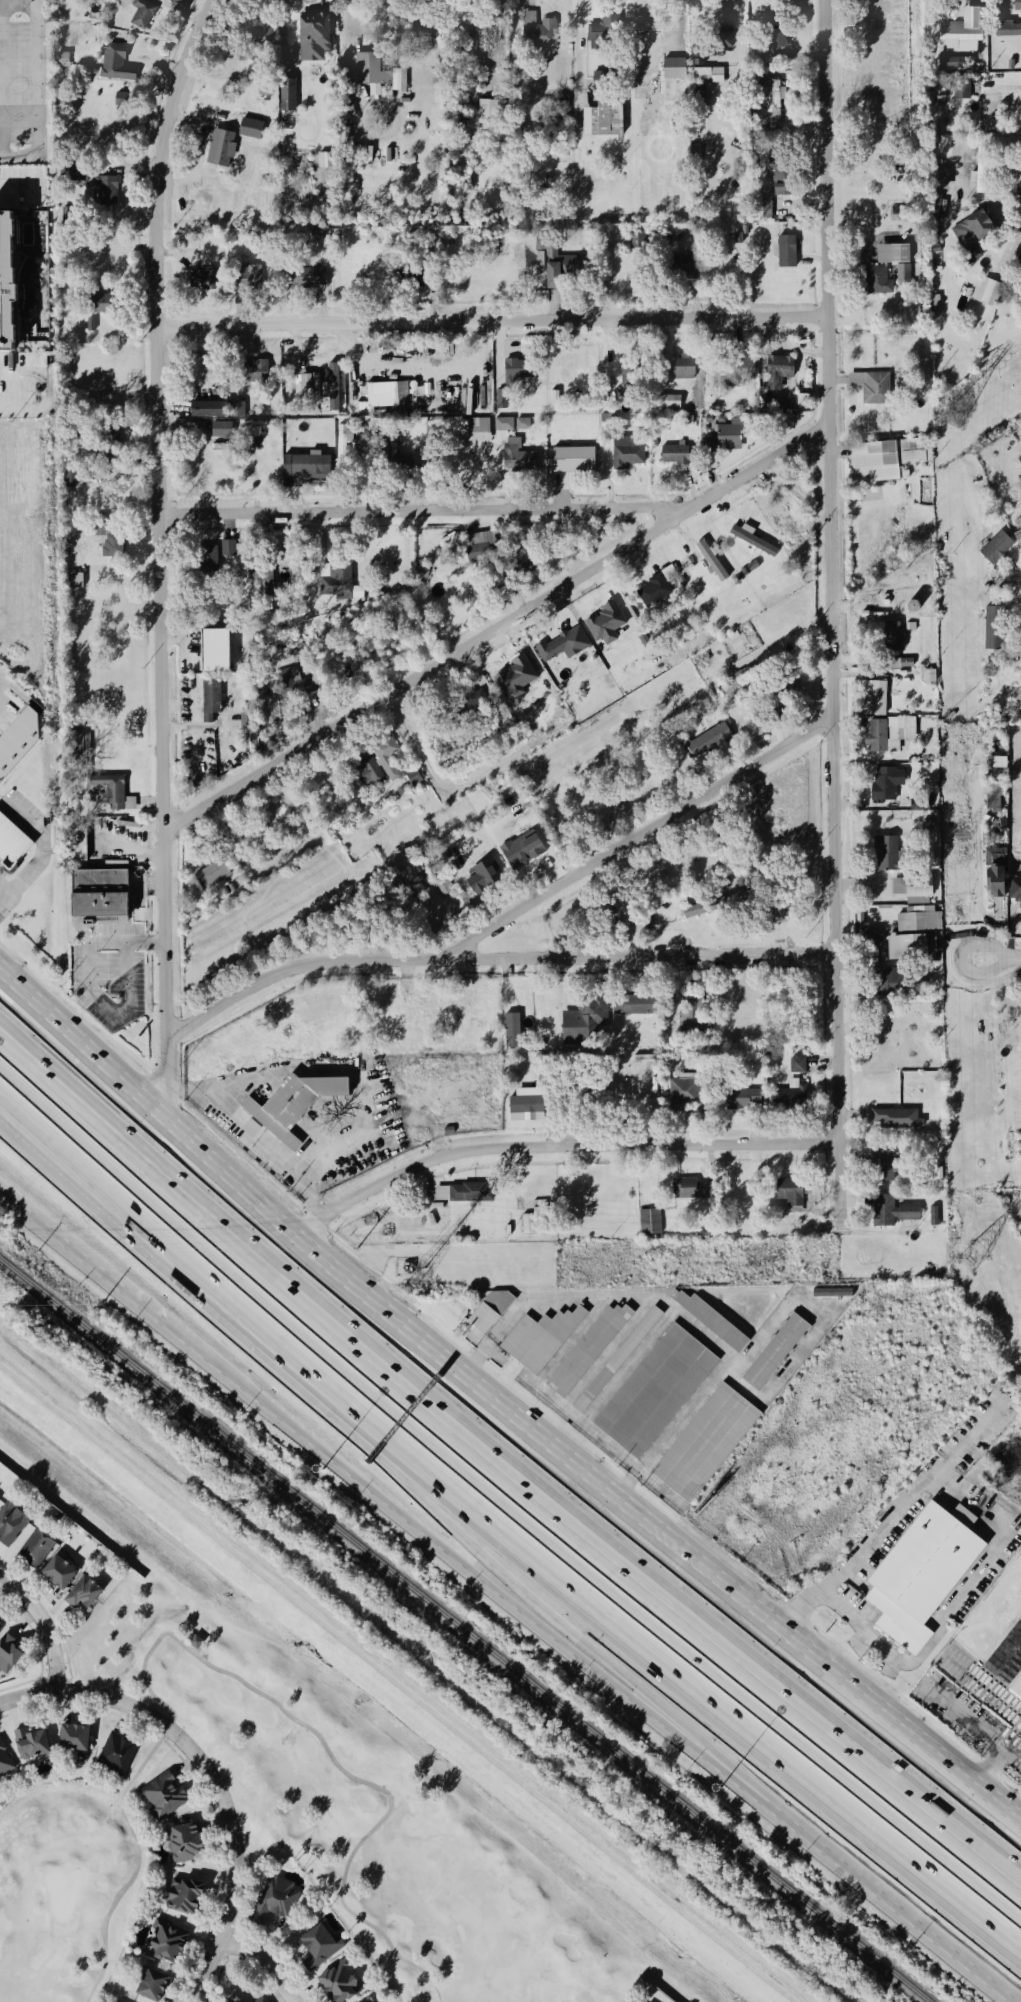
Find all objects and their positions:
building: (109, 5)
building: (1017, 5)
building: (140, 14)
building: (1005, 28)
building: (600, 29)
building: (642, 29)
building: (535, 32)
building: (959, 33)
building: (721, 34)
building: (311, 37)
road: (580, 43)
building: (66, 60)
building: (113, 63)
building: (674, 68)
building: (375, 73)
building: (707, 75)
building: (636, 78)
building: (958, 89)
building: (286, 93)
road: (33, 95)
building: (772, 105)
building: (482, 112)
building: (601, 119)
building: (251, 128)
building: (218, 148)
building: (938, 180)
building: (778, 184)
building: (106, 188)
building: (71, 215)
building: (969, 229)
building: (784, 252)
building: (893, 253)
building: (248, 278)
building: (305, 278)
building: (8, 280)
building: (201, 280)
building: (877, 281)
building: (989, 292)
building: (106, 303)
building: (935, 303)
road: (493, 319)
building: (92, 324)
building: (680, 368)
building: (737, 370)
building: (509, 372)
building: (775, 372)
building: (299, 385)
building: (325, 386)
building: (871, 388)
building: (389, 395)
building: (554, 397)
building: (501, 399)
building: (668, 401)
power tower: (954, 417)
building: (523, 423)
building: (503, 424)
building: (219, 430)
building: (477, 430)
building: (726, 436)
building: (341, 440)
building: (626, 453)
building: (672, 455)
building: (573, 459)
building: (881, 460)
building: (303, 469)
road: (428, 510)
building: (1017, 532)
building: (753, 541)
building: (116, 545)
building: (475, 546)
building: (225, 548)
building: (993, 549)
road: (164, 550)
building: (707, 561)
building: (753, 565)
building: (744, 571)
building: (75, 580)
building: (264, 580)
building: (334, 582)
building: (656, 587)
road: (831, 612)
building: (603, 625)
road: (500, 626)
building: (906, 627)
building: (991, 629)
building: (891, 637)
building: (401, 638)
building: (561, 646)
building: (215, 649)
building: (345, 651)
building: (906, 662)
building: (928, 675)
building: (215, 699)
building: (871, 699)
building: (250, 718)
building: (887, 734)
building: (17, 740)
building: (706, 741)
building: (378, 764)
building: (883, 784)
building: (114, 792)
building: (992, 798)
building: (917, 804)
road: (637, 837)
building: (12, 842)
building: (78, 843)
building: (519, 850)
road: (135, 851)
building: (883, 855)
building: (991, 873)
building: (212, 874)
building: (480, 876)
building: (1013, 891)
building: (734, 893)
building: (108, 894)
road: (10, 896)
building: (705, 907)
building: (907, 947)
road: (1001, 956)
road: (495, 959)
building: (888, 984)
road: (88, 986)
building: (627, 1005)
building: (584, 1018)
building: (510, 1030)
building: (795, 1065)
building: (680, 1092)
building: (523, 1105)
building: (289, 1107)
building: (896, 1118)
building: (251, 1128)
road: (50, 1146)
road: (565, 1147)
building: (685, 1189)
building: (787, 1191)
building: (468, 1193)
building: (438, 1194)
building: (889, 1212)
building: (932, 1216)
building: (648, 1221)
power tower: (966, 1259)
road: (92, 1260)
power tower: (422, 1272)
building: (832, 1292)
building: (487, 1311)
road: (677, 1316)
building: (708, 1320)
building: (540, 1338)
building: (587, 1350)
building: (775, 1351)
building: (617, 1359)
building: (655, 1390)
road: (500, 1402)
building: (705, 1442)
road: (967, 1443)
road: (324, 1450)
road: (501, 1476)
road: (408, 1484)
road: (948, 1487)
building: (10, 1524)
building: (31, 1550)
road: (556, 1572)
building: (56, 1573)
building: (920, 1575)
building: (80, 1593)
building: (0, 1624)
road: (45, 1624)
railway: (464, 1629)
road: (865, 1631)
building: (8, 1654)
building: (1006, 1661)
railway: (424, 1663)
road: (593, 1667)
road: (217, 1668)
building: (68, 1738)
building: (27, 1743)
building: (114, 1755)
building: (4, 1762)
road: (213, 1770)
building: (160, 1797)
building: (178, 1843)
park: (293, 1847)
road: (867, 1886)
building: (180, 1895)
building: (275, 1899)
building: (162, 1943)
building: (314, 1946)
road: (262, 1968)
building: (334, 1983)
building: (147, 1985)
building: (259, 2000)
building: (112, 2001)
building: (220, 2001)
building: (251, 2001)

